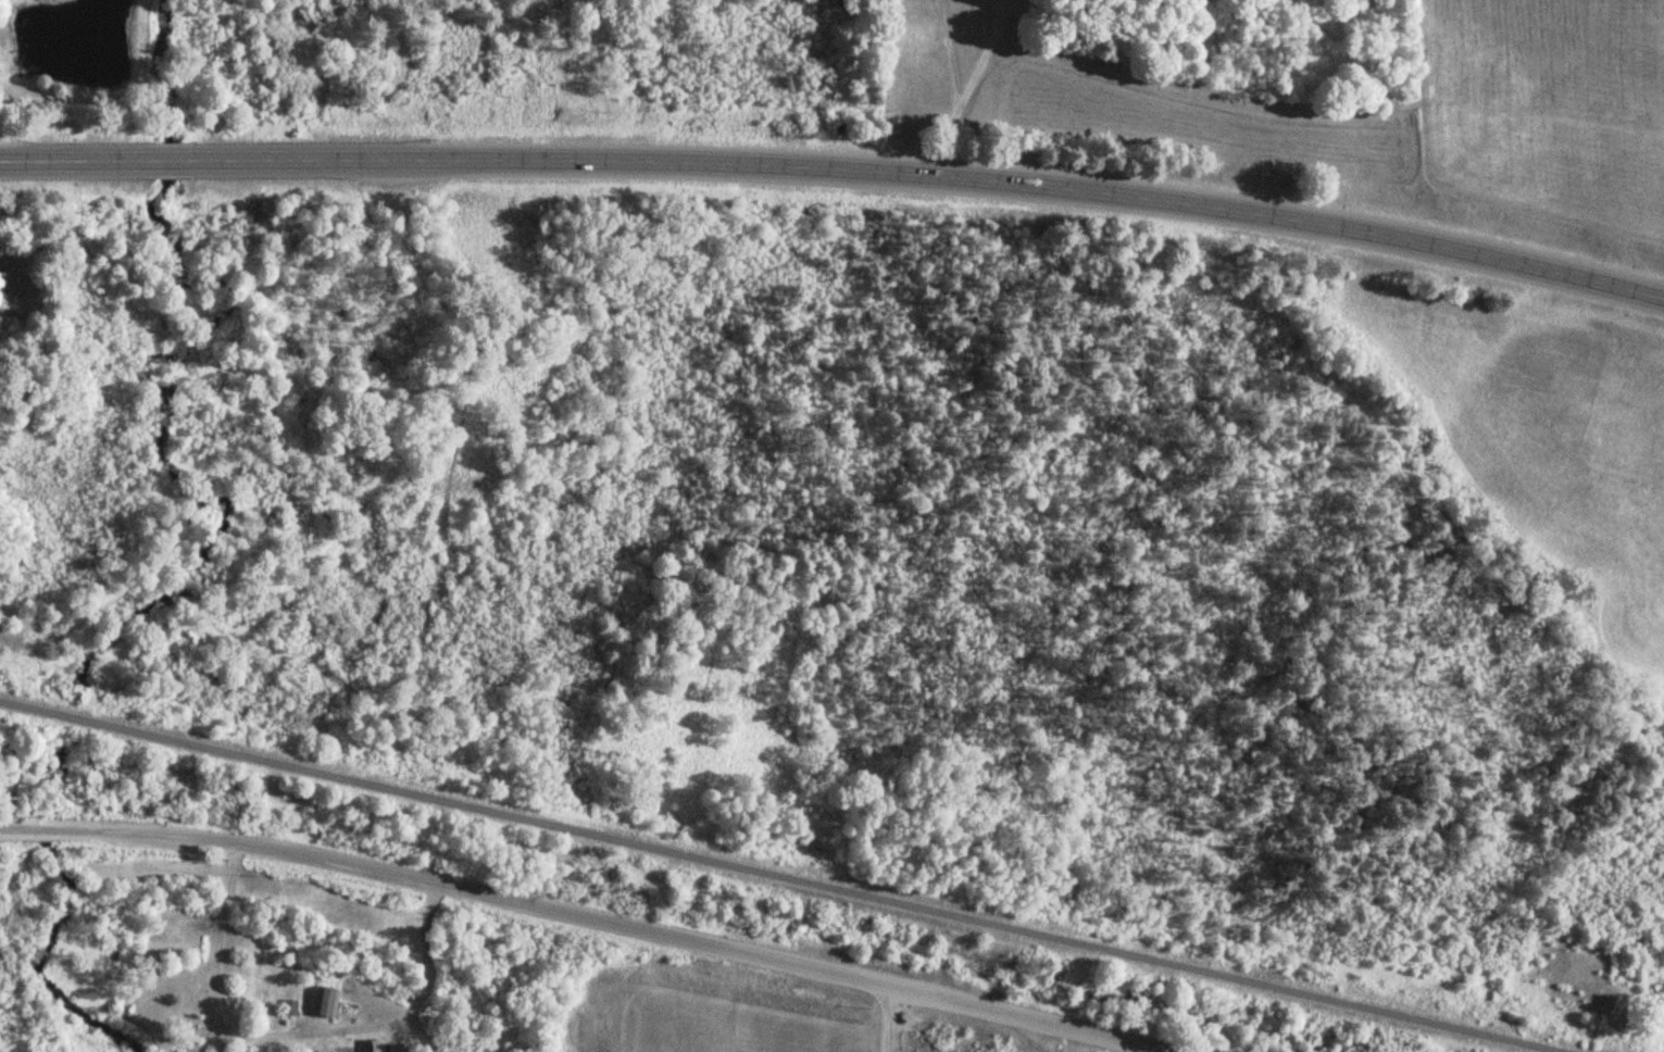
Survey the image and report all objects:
road: (837, 170)
road: (773, 879)
road: (584, 924)
building: (324, 1004)
building: (285, 1007)
building: (371, 1045)

